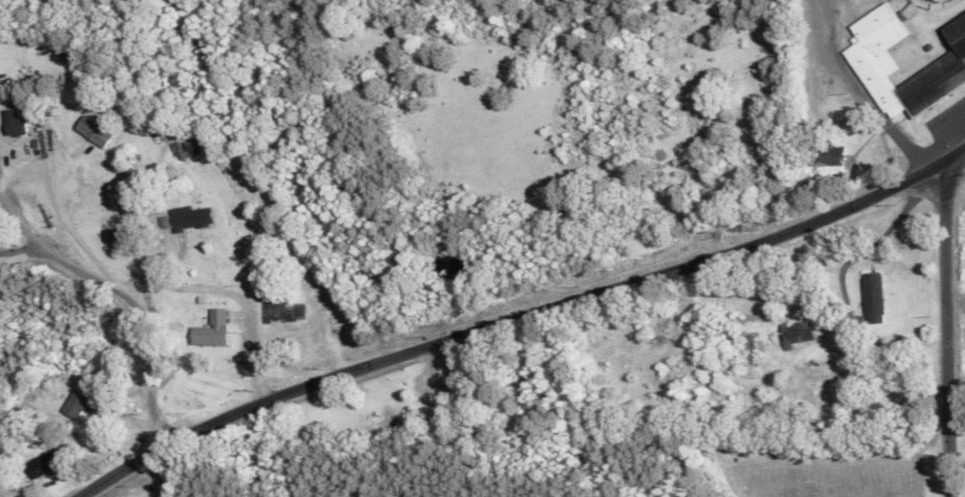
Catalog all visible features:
building: (957, 35)
building: (876, 52)
building: (932, 82)
building: (13, 124)
building: (92, 131)
building: (187, 147)
building: (825, 163)
building: (189, 219)
road: (20, 230)
building: (111, 235)
road: (18, 251)
building: (872, 298)
road: (519, 317)
road: (143, 330)
building: (210, 330)
road: (946, 332)
building: (795, 334)
building: (75, 406)
building: (45, 465)
building: (0, 496)

